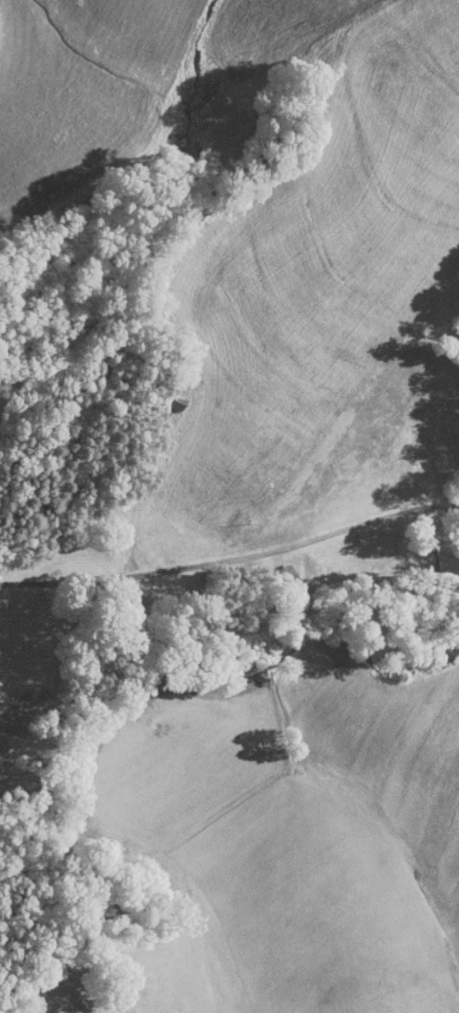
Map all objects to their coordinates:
road: (233, 561)

